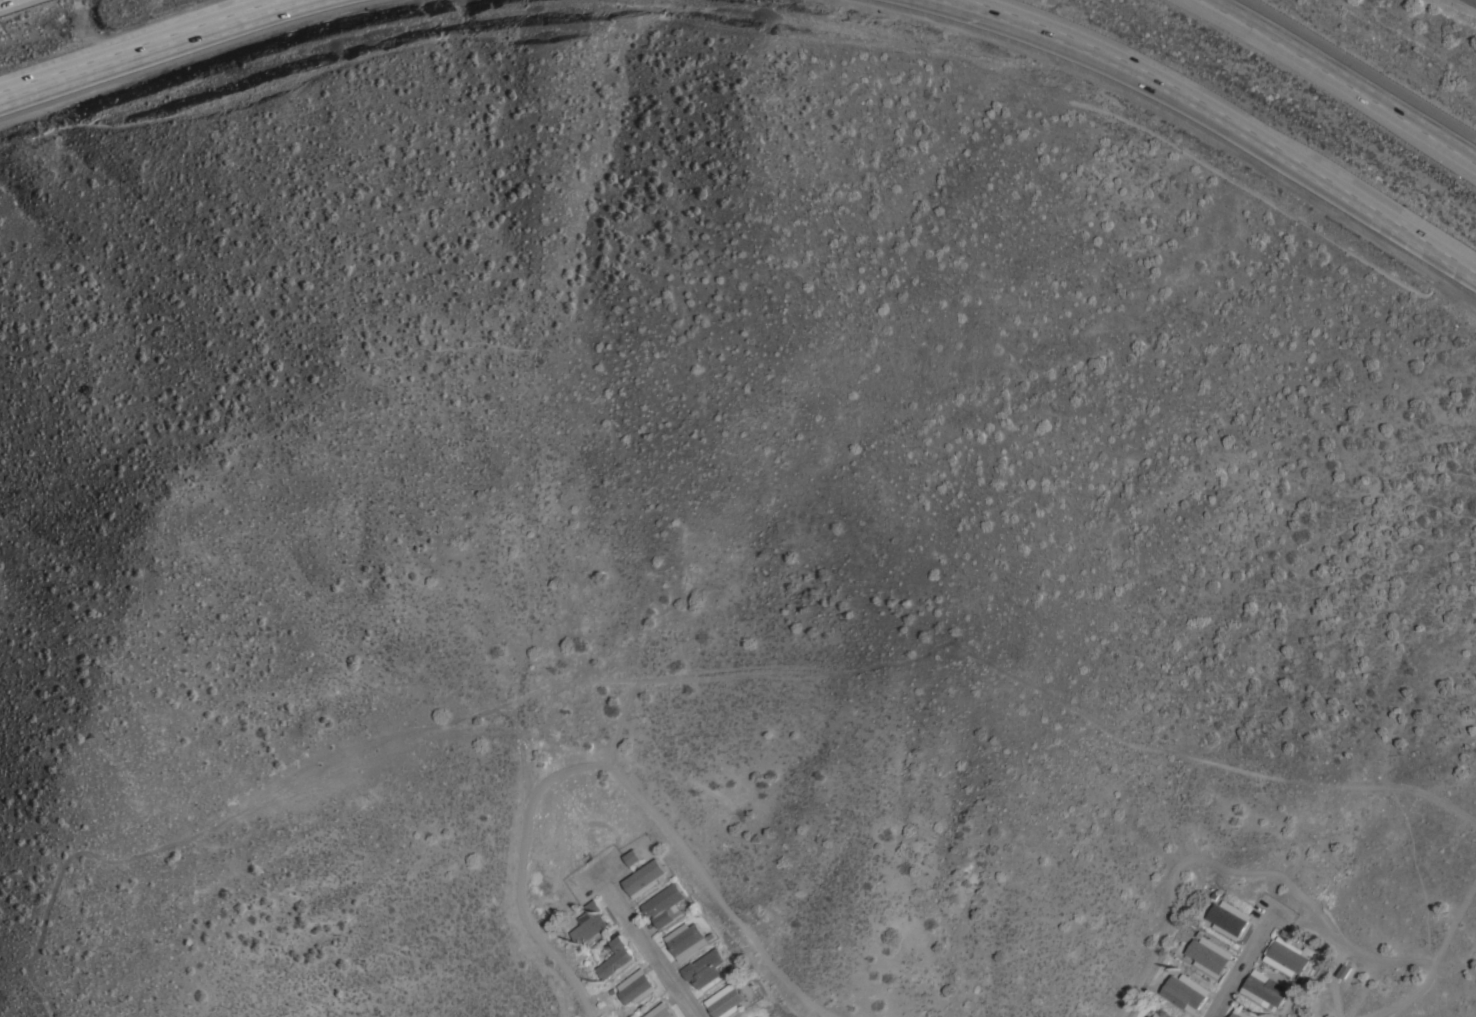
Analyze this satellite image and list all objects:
road: (1004, 5)
road: (132, 44)
road: (1350, 76)
road: (1255, 126)
building: (632, 856)
building: (644, 877)
building: (664, 904)
building: (1228, 918)
building: (590, 923)
building: (686, 939)
road: (649, 946)
building: (1208, 953)
building: (1286, 955)
building: (615, 958)
road: (1234, 962)
building: (704, 967)
building: (635, 986)
building: (1264, 988)
building: (1185, 991)
building: (724, 1000)
building: (660, 1011)
building: (1239, 1013)
building: (1161, 1014)
building: (752, 1015)
building: (757, 1016)

